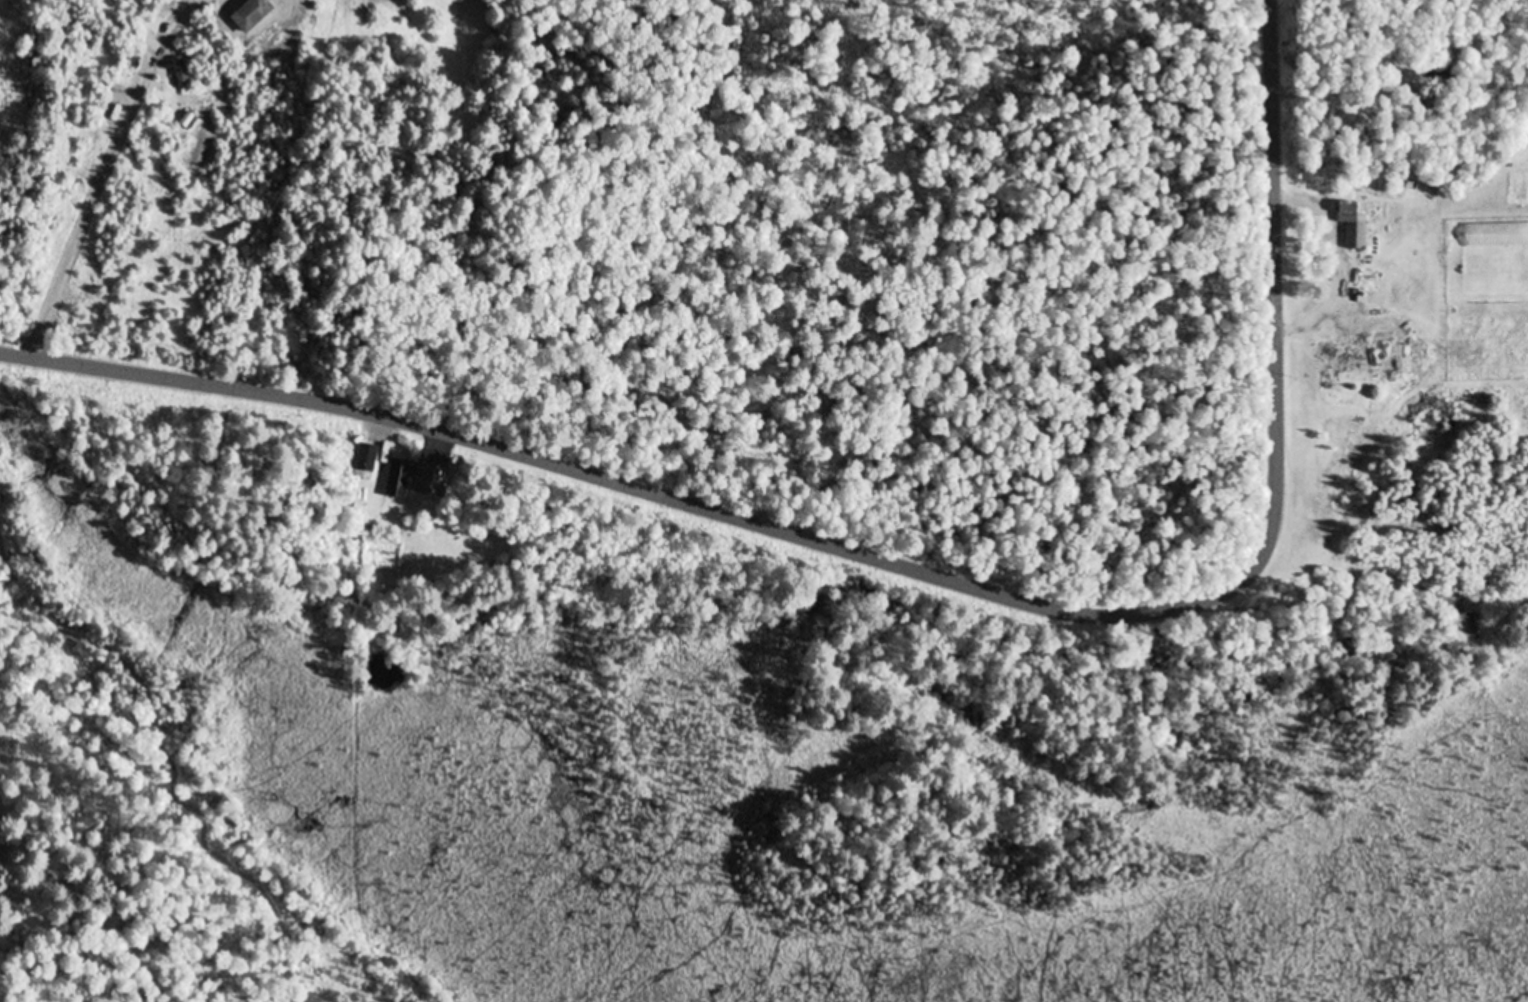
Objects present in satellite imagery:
building: (1354, 223)
building: (367, 456)
building: (399, 477)
building: (430, 481)
road: (909, 562)

